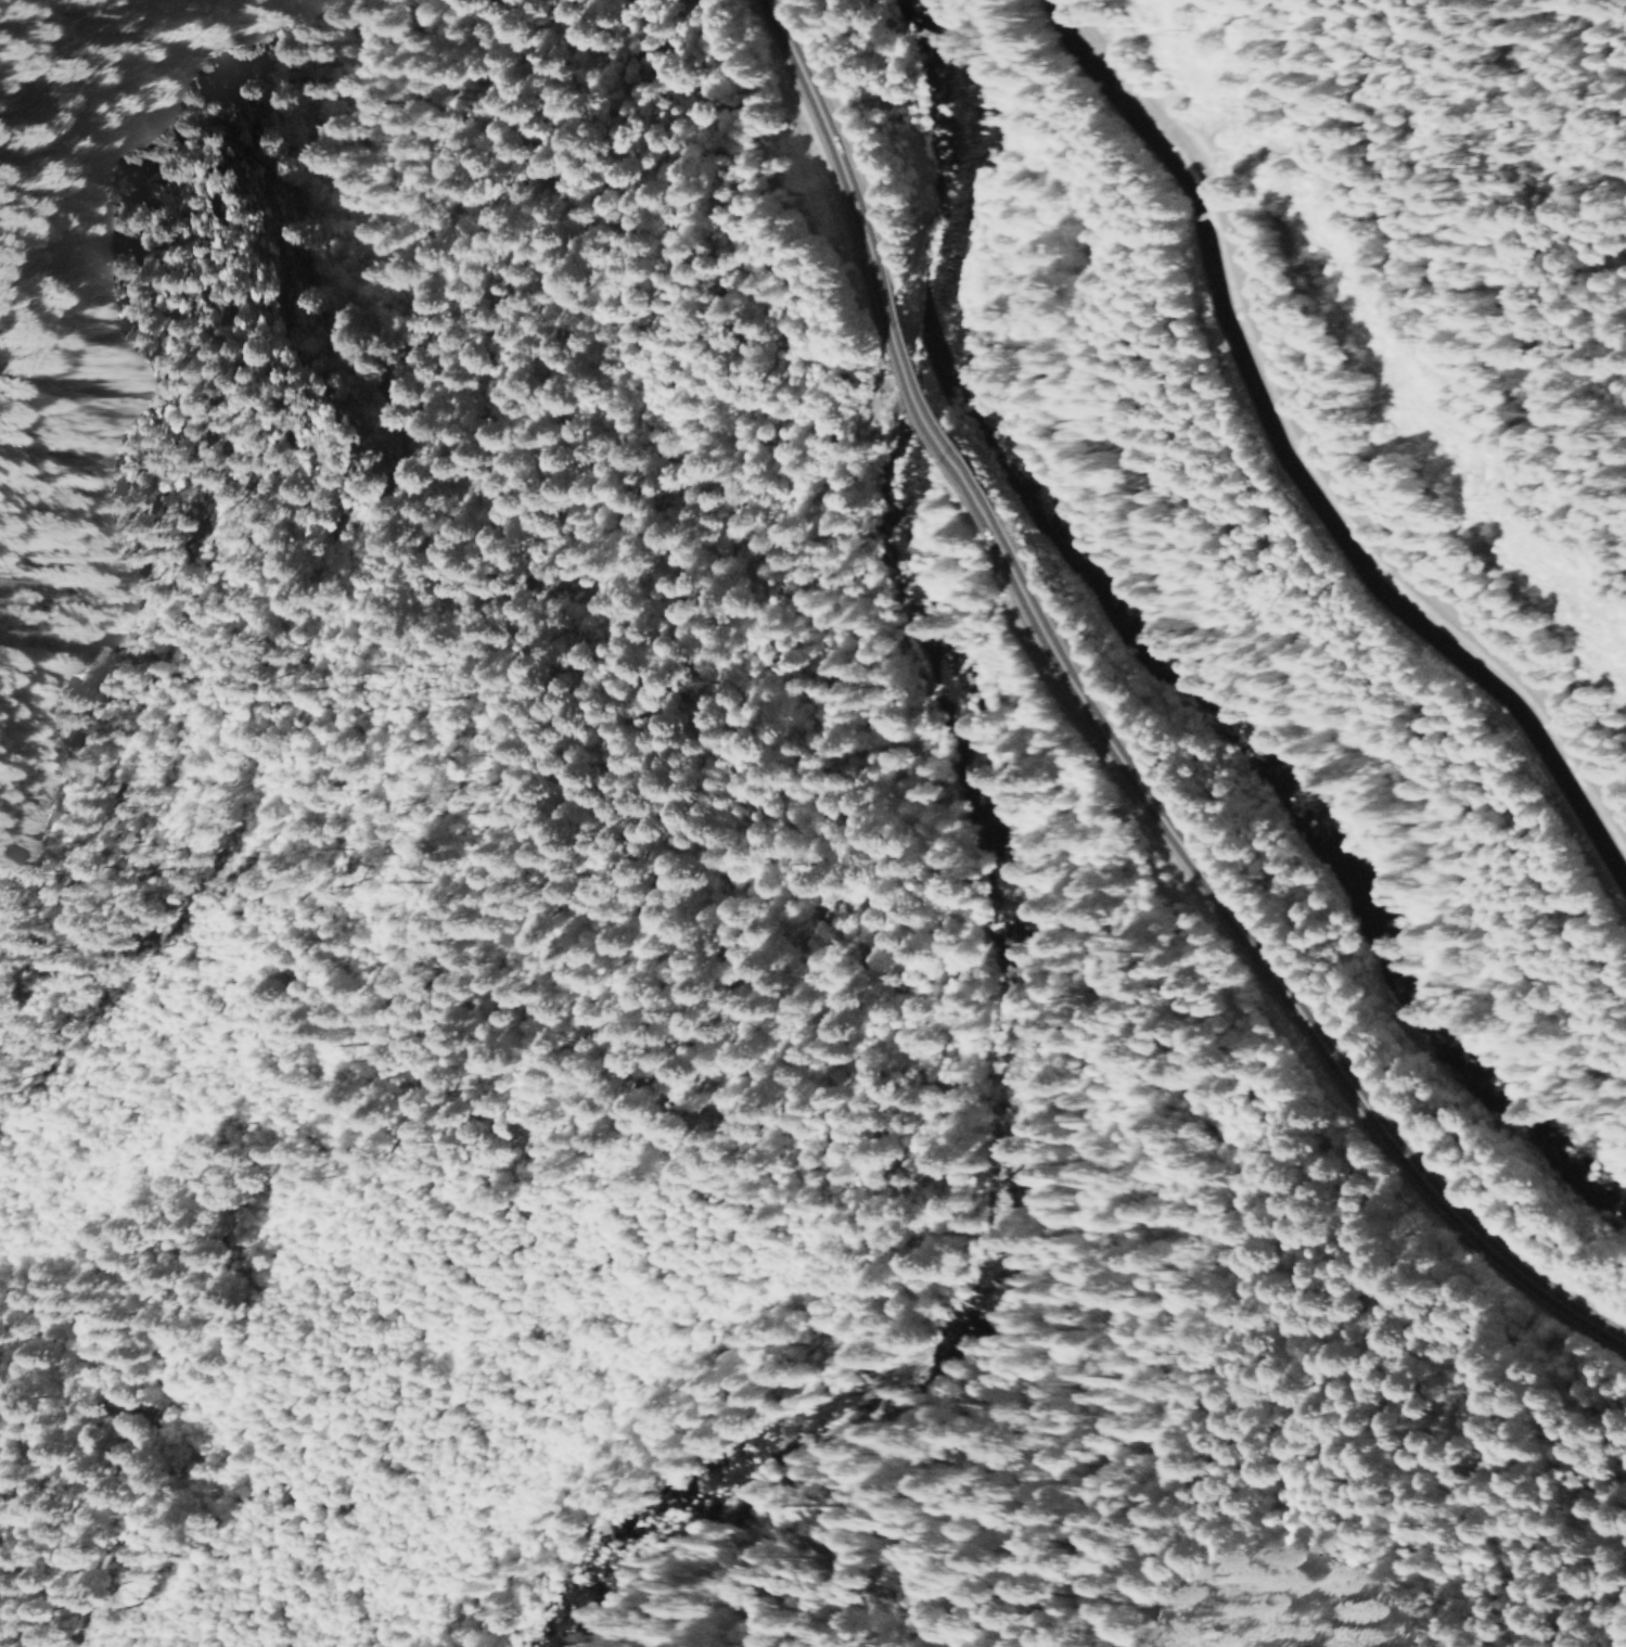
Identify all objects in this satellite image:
road: (832, 166)
road: (925, 395)
road: (1308, 448)
river: (1169, 655)
road: (1241, 941)

